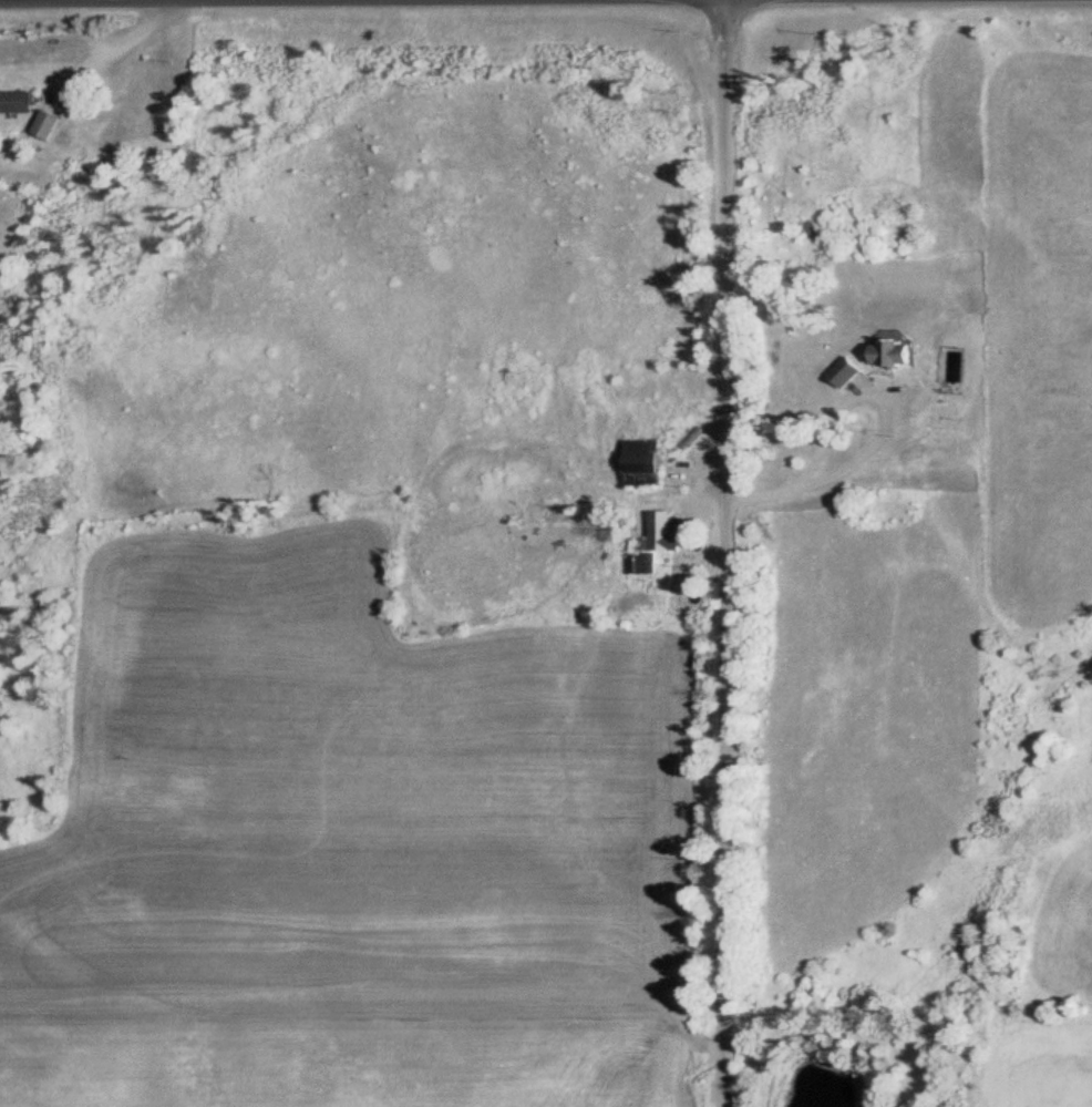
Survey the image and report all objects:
building: (20, 102)
building: (49, 124)
building: (896, 352)
building: (847, 371)
road: (883, 431)
building: (646, 463)
crop: (938, 515)
building: (656, 543)
road: (728, 553)
crop: (348, 844)
crop: (1065, 920)
crop: (1040, 1059)

